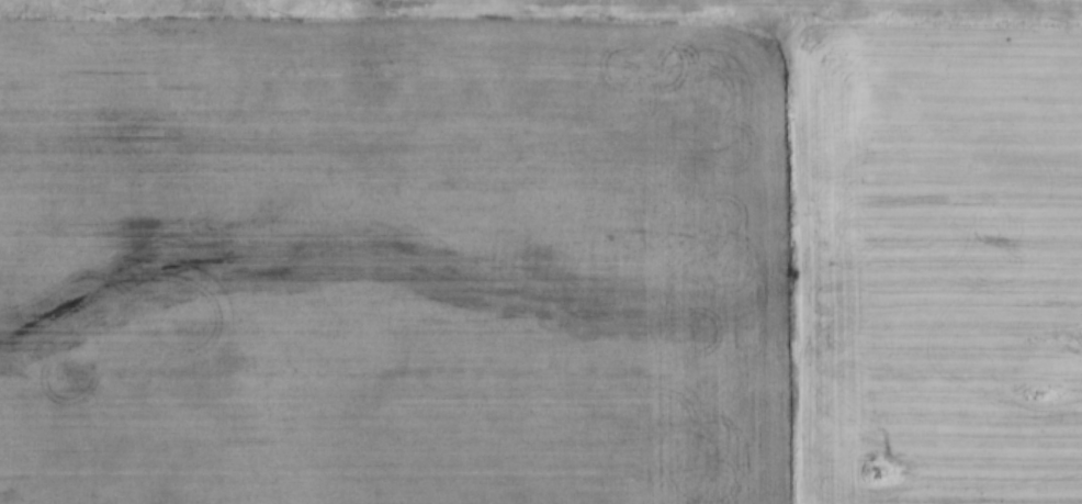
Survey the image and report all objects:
road: (983, 0)

